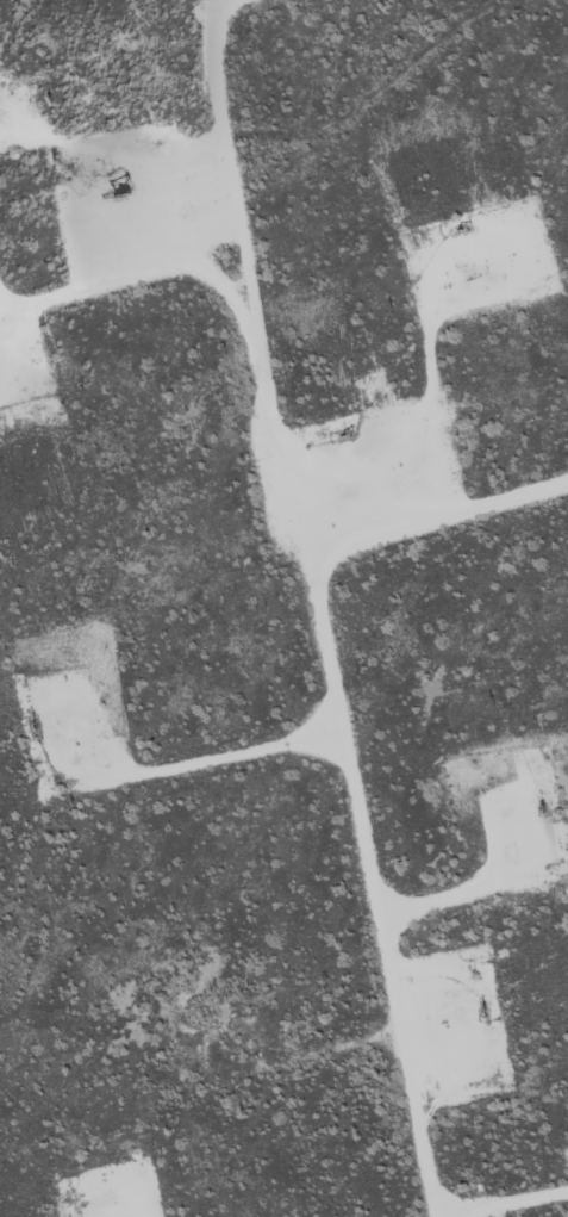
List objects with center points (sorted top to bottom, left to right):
petroleum well: (335, 436)
road: (438, 514)
road: (325, 633)

